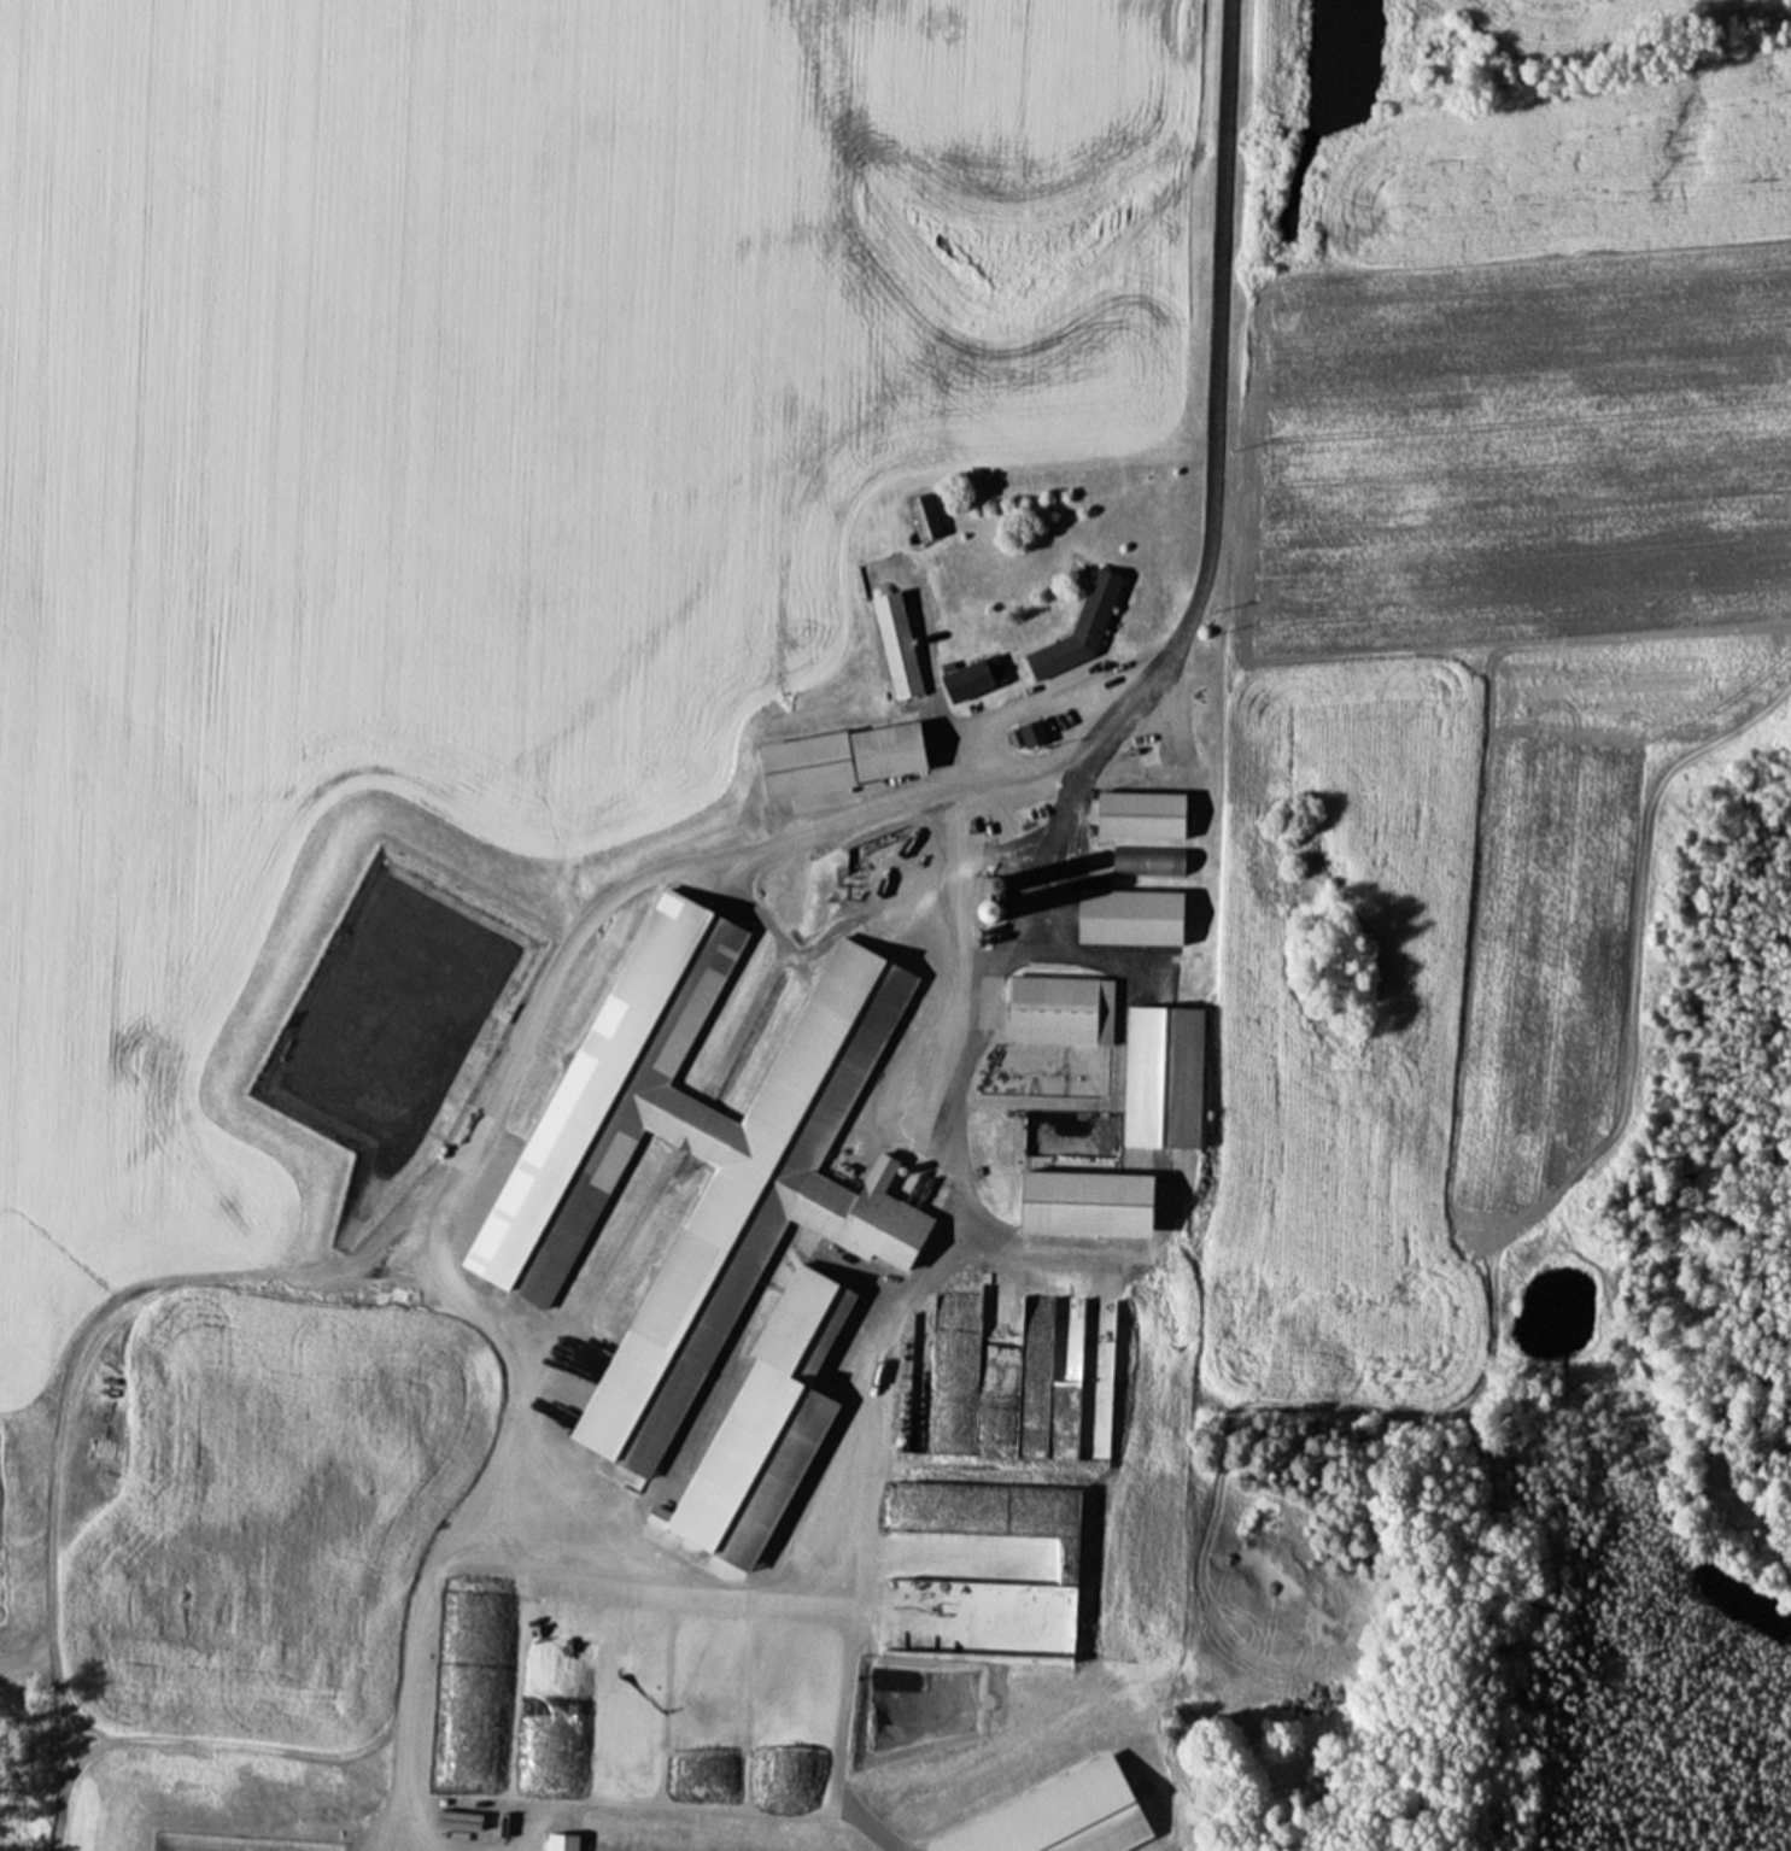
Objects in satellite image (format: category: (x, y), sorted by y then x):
building: (923, 517)
building: (1078, 626)
building: (895, 645)
building: (972, 676)
road: (1145, 678)
building: (1030, 732)
building: (835, 762)
building: (1139, 813)
building: (967, 820)
building: (1146, 859)
road: (674, 867)
building: (1126, 915)
building: (955, 920)
building: (1058, 1009)
building: (1151, 1053)
building: (686, 1137)
building: (738, 1517)
building: (836, 1744)

